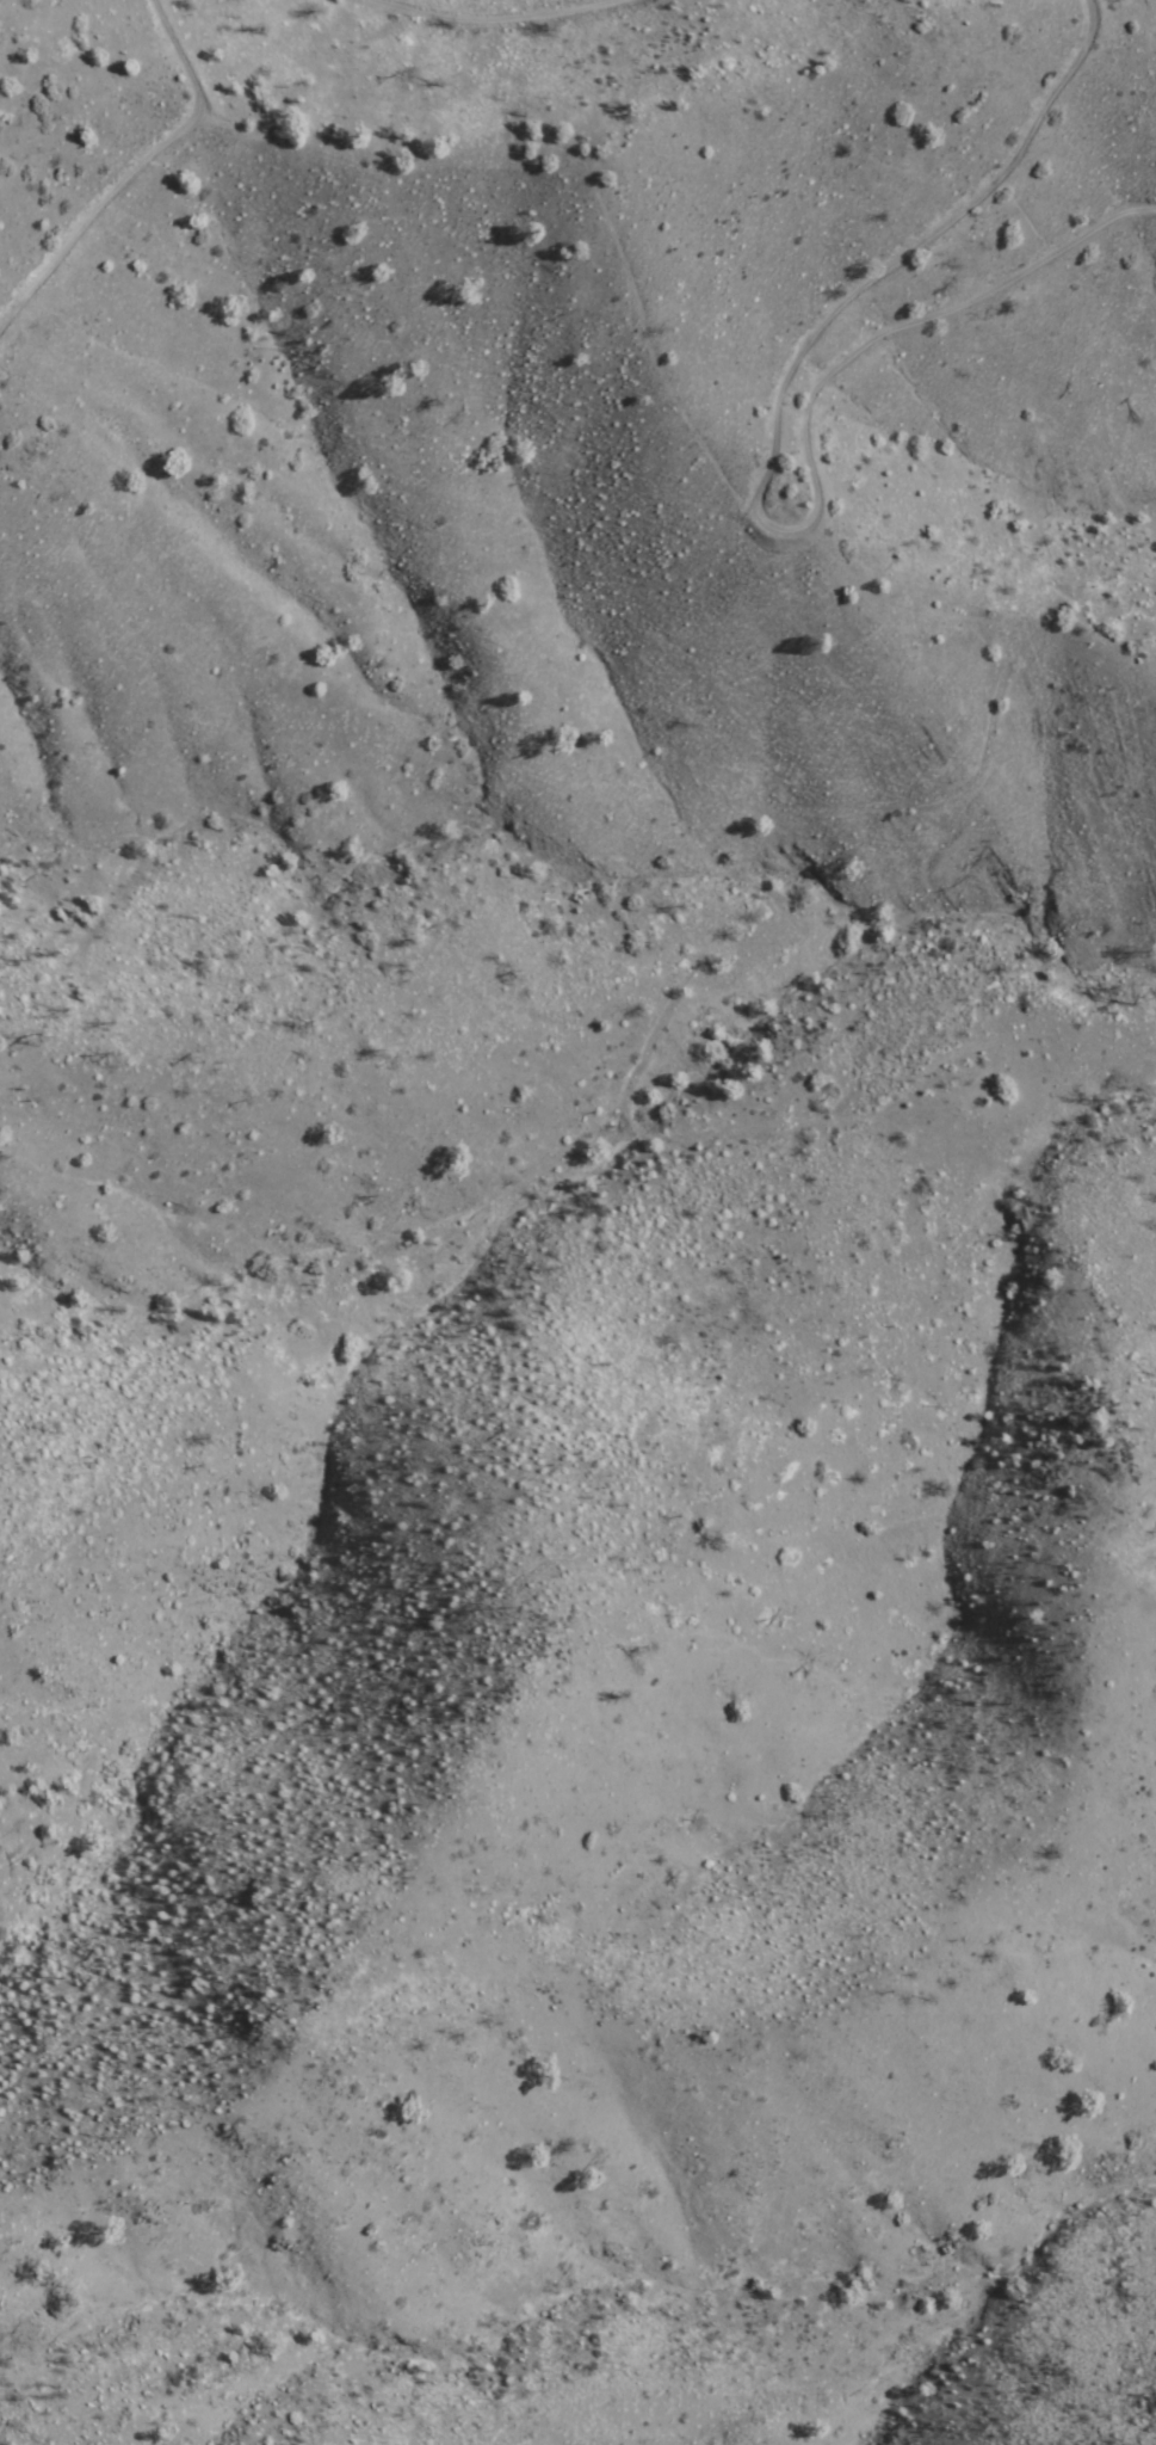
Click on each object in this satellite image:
road: (497, 17)
road: (134, 173)
road: (760, 488)

